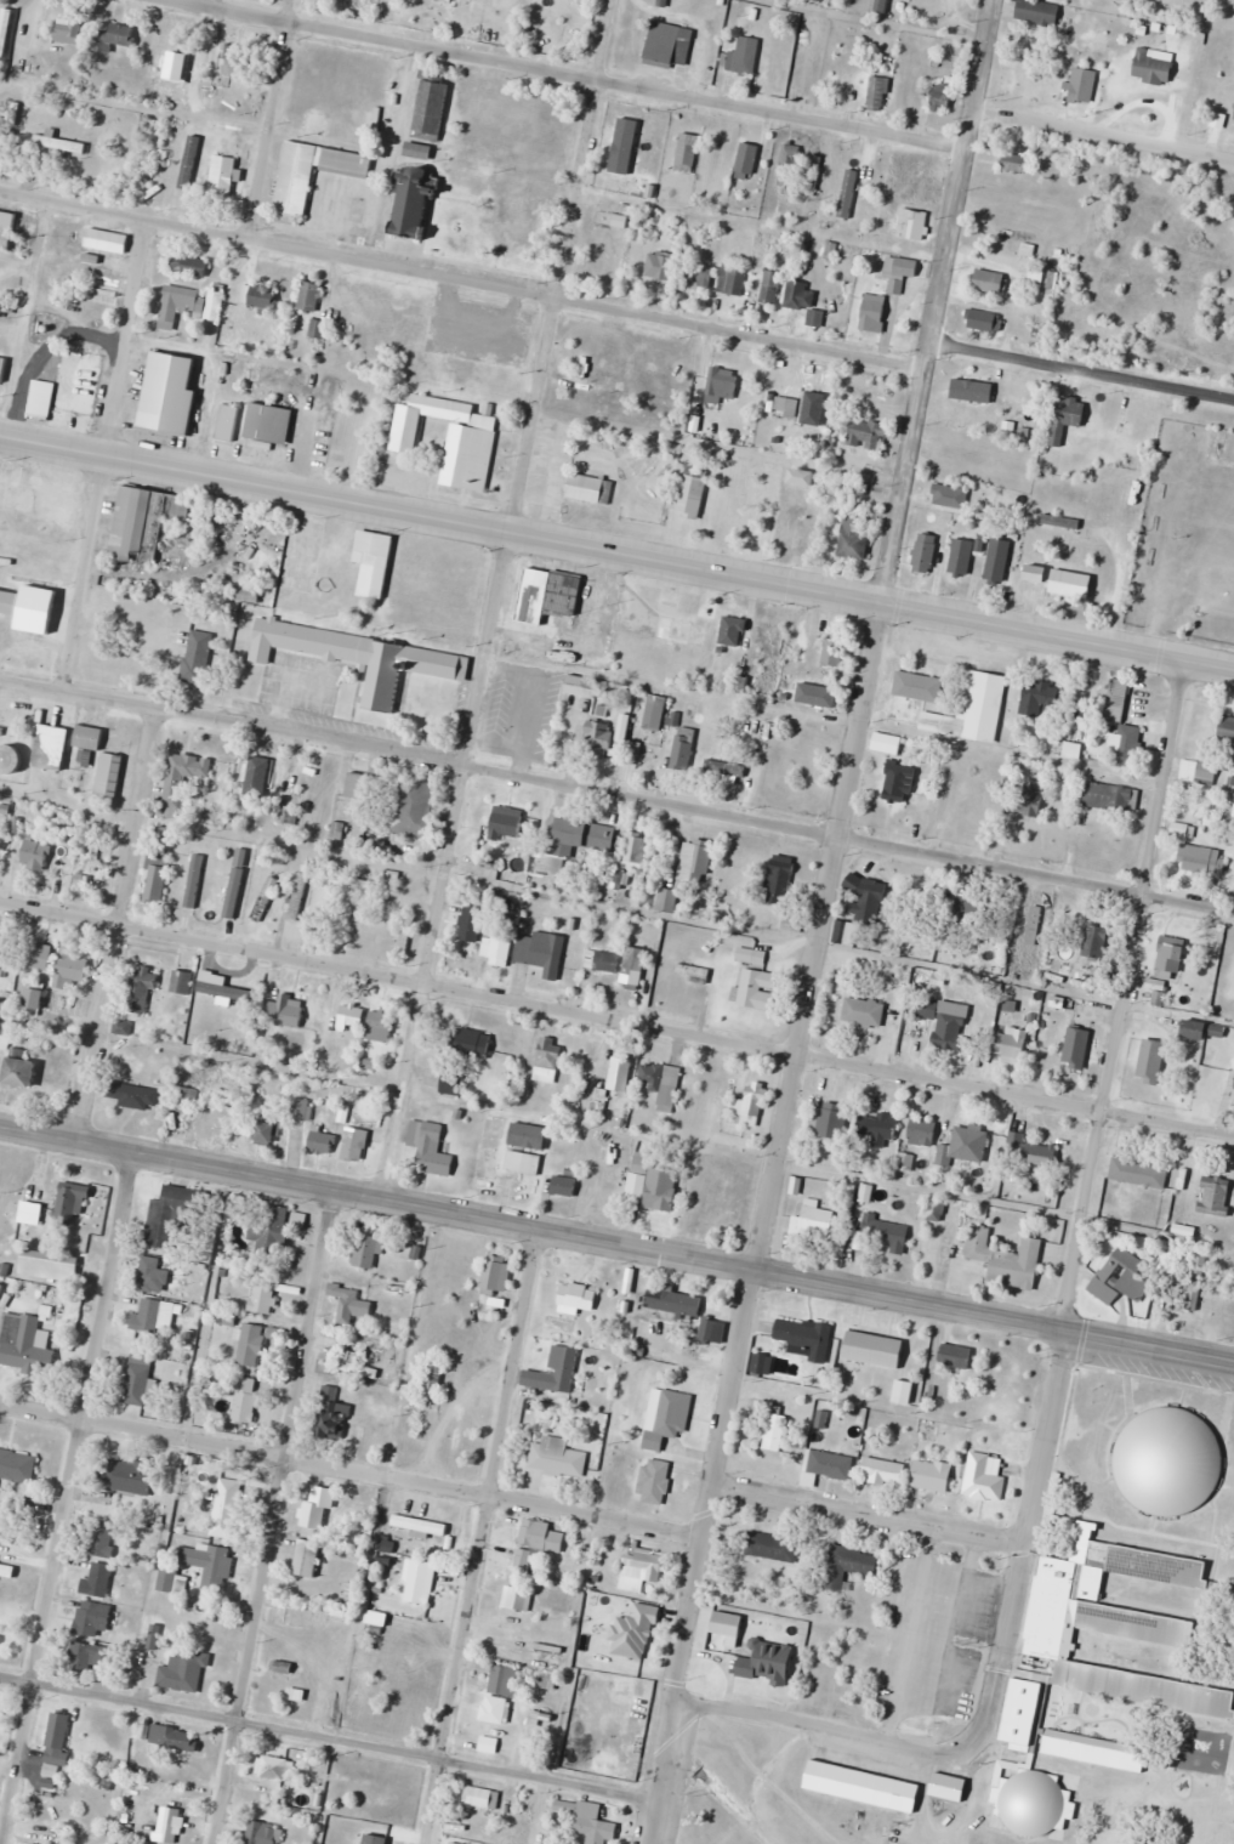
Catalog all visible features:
building: (448, 0)
building: (815, 0)
building: (1042, 12)
building: (569, 23)
building: (68, 32)
building: (113, 38)
building: (664, 42)
building: (744, 56)
building: (232, 62)
building: (177, 64)
building: (803, 69)
road: (575, 76)
building: (1080, 85)
building: (878, 92)
building: (942, 96)
building: (422, 107)
road: (266, 118)
road: (1103, 131)
building: (58, 143)
building: (688, 149)
building: (649, 154)
building: (790, 154)
building: (747, 159)
building: (1017, 163)
building: (222, 176)
building: (288, 176)
building: (638, 185)
building: (848, 188)
building: (172, 191)
building: (413, 203)
building: (514, 221)
building: (912, 225)
building: (5, 227)
building: (106, 240)
building: (190, 266)
building: (660, 267)
building: (899, 272)
building: (699, 273)
road: (461, 278)
building: (733, 279)
building: (990, 282)
building: (770, 286)
building: (309, 296)
building: (257, 297)
building: (180, 299)
building: (803, 300)
building: (874, 312)
building: (984, 320)
building: (317, 329)
road: (1081, 371)
building: (722, 385)
building: (55, 391)
building: (169, 395)
building: (983, 397)
building: (798, 408)
building: (1067, 418)
building: (227, 424)
building: (261, 424)
building: (868, 435)
road: (98, 454)
building: (460, 455)
building: (802, 477)
building: (576, 488)
building: (683, 494)
building: (948, 494)
building: (1135, 503)
building: (143, 522)
building: (1063, 522)
building: (854, 538)
road: (616, 550)
building: (925, 556)
building: (962, 557)
building: (999, 561)
building: (1037, 574)
building: (374, 579)
building: (1073, 585)
building: (523, 595)
road: (496, 600)
building: (5, 602)
building: (676, 629)
building: (769, 641)
building: (800, 645)
building: (834, 652)
building: (354, 654)
building: (564, 654)
building: (197, 657)
building: (580, 685)
building: (919, 686)
building: (1040, 699)
building: (1118, 699)
building: (826, 702)
building: (972, 709)
building: (655, 713)
building: (624, 727)
building: (1227, 731)
building: (89, 736)
building: (598, 737)
building: (1128, 741)
building: (51, 745)
building: (633, 749)
building: (683, 750)
building: (10, 758)
building: (107, 773)
building: (1206, 773)
building: (183, 776)
building: (257, 778)
building: (899, 782)
building: (360, 785)
building: (1105, 795)
road: (616, 796)
building: (1030, 798)
building: (411, 806)
building: (505, 824)
building: (599, 847)
building: (633, 850)
building: (0, 855)
building: (35, 855)
building: (1201, 858)
building: (695, 861)
building: (485, 869)
building: (157, 880)
building: (779, 880)
building: (868, 896)
building: (298, 897)
building: (666, 900)
road: (821, 921)
building: (1029, 925)
road: (118, 926)
building: (471, 926)
building: (1094, 941)
building: (0, 946)
building: (497, 946)
building: (541, 948)
building: (36, 955)
building: (751, 955)
building: (1167, 961)
building: (635, 964)
building: (70, 966)
building: (694, 972)
building: (182, 982)
building: (140, 986)
building: (757, 989)
building: (224, 991)
building: (34, 998)
building: (284, 1012)
building: (864, 1012)
building: (351, 1016)
road: (616, 1019)
building: (946, 1023)
building: (382, 1026)
building: (1195, 1029)
building: (1218, 1031)
building: (199, 1032)
building: (470, 1043)
building: (1074, 1044)
building: (1011, 1046)
building: (1153, 1059)
building: (548, 1060)
building: (21, 1072)
building: (620, 1073)
building: (661, 1083)
building: (451, 1084)
building: (132, 1095)
building: (301, 1108)
building: (210, 1117)
building: (831, 1120)
building: (268, 1129)
building: (874, 1130)
building: (922, 1133)
building: (322, 1141)
building: (354, 1144)
building: (965, 1146)
building: (430, 1150)
building: (1029, 1150)
building: (513, 1162)
building: (488, 1165)
building: (1139, 1173)
building: (559, 1185)
building: (656, 1185)
building: (1216, 1195)
building: (70, 1203)
building: (24, 1213)
road: (1080, 1213)
building: (174, 1215)
building: (813, 1219)
building: (271, 1227)
building: (1178, 1230)
building: (885, 1231)
road: (616, 1246)
building: (366, 1250)
building: (1006, 1259)
building: (49, 1265)
building: (1167, 1265)
building: (1124, 1269)
building: (154, 1273)
building: (495, 1280)
building: (1196, 1281)
building: (263, 1297)
building: (576, 1299)
building: (673, 1300)
building: (351, 1304)
building: (147, 1315)
building: (712, 1329)
building: (804, 1338)
building: (25, 1344)
building: (864, 1349)
building: (955, 1356)
building: (356, 1360)
building: (762, 1364)
building: (555, 1372)
building: (137, 1379)
building: (433, 1380)
building: (904, 1391)
building: (246, 1401)
building: (332, 1415)
building: (666, 1420)
building: (773, 1429)
building: (557, 1457)
building: (1172, 1462)
building: (826, 1466)
building: (16, 1468)
road: (354, 1470)
building: (883, 1471)
building: (932, 1475)
building: (126, 1476)
building: (983, 1479)
building: (654, 1481)
road: (67, 1498)
building: (227, 1503)
building: (318, 1507)
road: (870, 1513)
road: (272, 1517)
building: (431, 1528)
building: (538, 1534)
road: (478, 1537)
building: (106, 1538)
building: (770, 1547)
building: (307, 1558)
building: (519, 1562)
building: (209, 1564)
building: (643, 1565)
building: (848, 1565)
building: (7, 1571)
building: (98, 1579)
building: (167, 1581)
building: (419, 1588)
building: (1232, 1591)
building: (517, 1598)
building: (297, 1613)
building: (91, 1621)
building: (1229, 1621)
building: (1164, 1639)
building: (90, 1655)
building: (284, 1667)
building: (184, 1670)
building: (505, 1680)
building: (495, 1709)
building: (1103, 1715)
road: (817, 1730)
building: (170, 1737)
building: (57, 1738)
road: (329, 1741)
building: (1094, 1749)
building: (275, 1769)
building: (939, 1783)
building: (854, 1786)
building: (482, 1798)
building: (1003, 1802)
building: (587, 1820)
building: (169, 1825)
building: (262, 1833)
building: (34, 1843)
building: (451, 1843)

